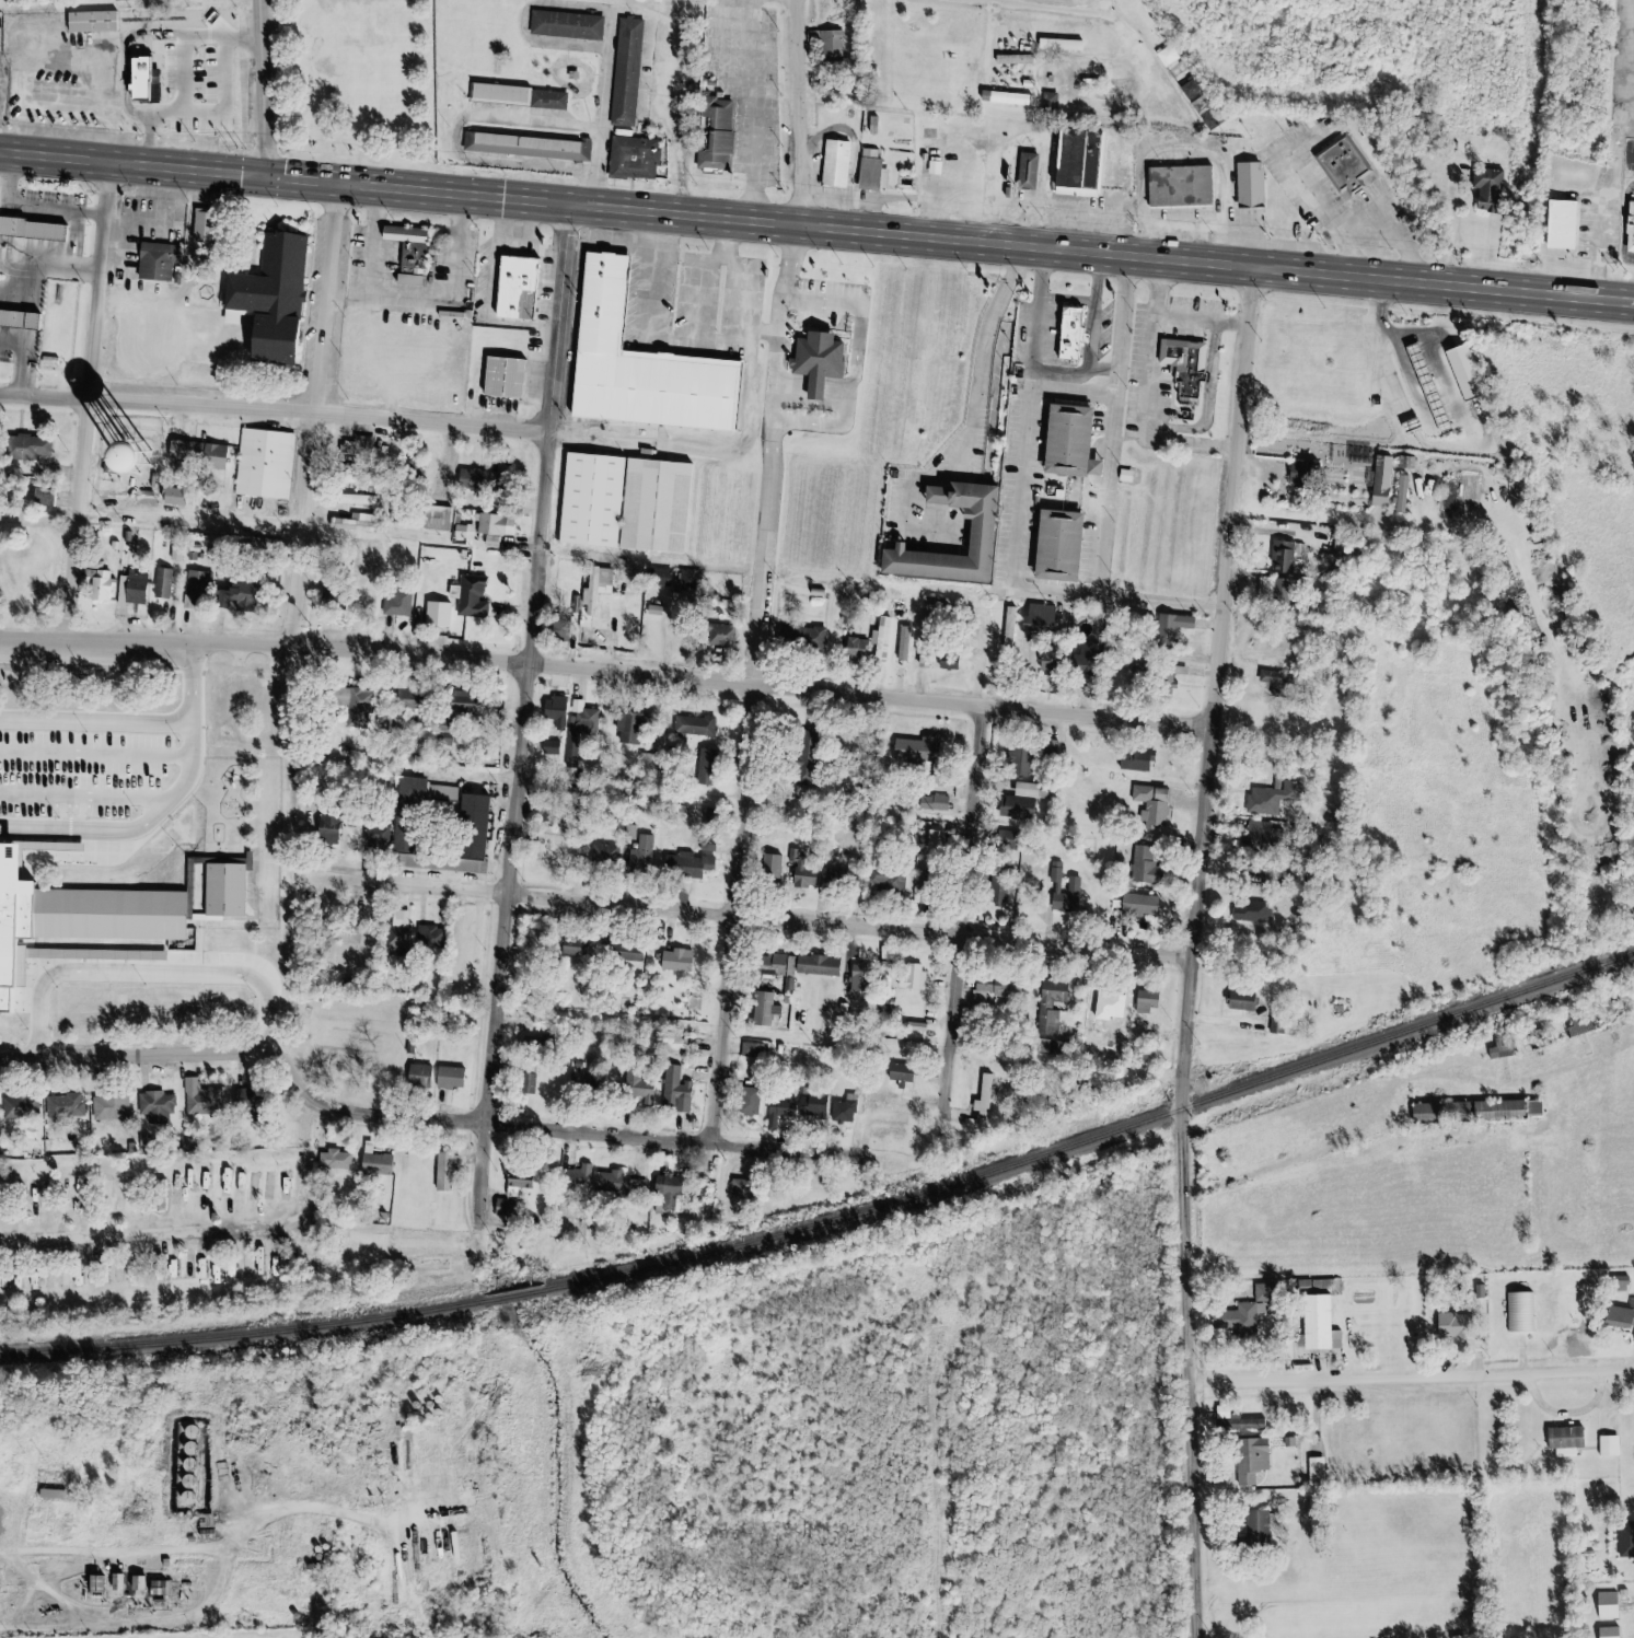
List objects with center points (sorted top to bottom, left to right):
building: (121, 0)
road: (1115, 9)
road: (607, 10)
building: (91, 21)
building: (182, 21)
building: (566, 24)
road: (1127, 26)
building: (831, 47)
building: (1013, 60)
building: (638, 70)
building: (572, 74)
road: (659, 74)
building: (23, 79)
building: (163, 79)
building: (47, 81)
road: (269, 89)
building: (499, 93)
building: (560, 98)
building: (1006, 98)
building: (1050, 104)
building: (1203, 104)
road: (683, 109)
road: (765, 111)
road: (803, 113)
building: (1215, 119)
road: (468, 138)
building: (731, 138)
building: (538, 144)
road: (1197, 150)
building: (645, 158)
building: (1354, 161)
building: (1091, 163)
building: (848, 164)
building: (1028, 173)
building: (870, 175)
building: (1261, 182)
road: (1314, 183)
building: (1195, 186)
building: (1487, 191)
road: (1381, 217)
building: (1576, 220)
building: (1560, 225)
road: (816, 226)
road: (1614, 226)
building: (1630, 228)
building: (31, 230)
road: (737, 240)
road: (386, 242)
road: (468, 249)
building: (422, 251)
building: (408, 254)
road: (710, 258)
road: (442, 259)
building: (157, 260)
road: (662, 274)
building: (517, 288)
road: (399, 299)
road: (707, 299)
building: (282, 300)
road: (755, 303)
road: (836, 304)
road: (1365, 305)
road: (1209, 317)
building: (19, 320)
building: (1083, 330)
building: (1069, 335)
road: (704, 340)
road: (1100, 342)
building: (830, 357)
building: (49, 360)
building: (641, 364)
building: (1191, 365)
building: (1378, 372)
building: (518, 374)
road: (865, 382)
road: (1151, 400)
road: (97, 402)
road: (1218, 407)
road: (280, 411)
road: (325, 415)
road: (1040, 418)
road: (844, 426)
road: (989, 427)
building: (1081, 440)
building: (30, 449)
building: (197, 449)
road: (715, 450)
road: (783, 454)
building: (228, 456)
building: (213, 458)
building: (101, 462)
building: (276, 463)
water tower: (144, 465)
building: (415, 472)
building: (1300, 475)
building: (472, 479)
building: (496, 480)
building: (1380, 483)
road: (1119, 491)
building: (1400, 495)
building: (188, 498)
building: (44, 499)
building: (591, 500)
building: (357, 501)
building: (656, 506)
road: (204, 519)
building: (437, 519)
building: (507, 523)
building: (354, 526)
building: (994, 528)
building: (477, 532)
building: (505, 539)
road: (531, 544)
building: (1071, 545)
building: (1282, 558)
building: (660, 579)
building: (98, 580)
building: (164, 585)
building: (596, 588)
building: (131, 589)
road: (1066, 590)
building: (201, 593)
building: (1274, 593)
building: (236, 594)
building: (485, 595)
building: (410, 602)
building: (397, 605)
building: (940, 606)
road: (521, 611)
building: (1038, 619)
building: (1175, 627)
building: (1009, 628)
building: (560, 631)
building: (730, 631)
road: (399, 634)
building: (881, 640)
building: (801, 641)
building: (903, 644)
building: (856, 650)
building: (924, 653)
road: (710, 654)
building: (1050, 660)
building: (948, 661)
building: (1086, 662)
road: (611, 671)
road: (140, 672)
building: (1136, 678)
building: (1167, 679)
building: (1275, 681)
road: (43, 699)
building: (410, 700)
building: (462, 706)
building: (359, 708)
building: (555, 713)
road: (533, 717)
building: (588, 722)
building: (694, 728)
building: (629, 730)
building: (442, 737)
building: (552, 748)
building: (1052, 750)
building: (915, 751)
building: (807, 755)
road: (230, 758)
building: (1019, 760)
building: (1136, 760)
building: (649, 763)
building: (706, 768)
building: (56, 776)
building: (1047, 792)
building: (1271, 799)
building: (932, 803)
building: (1018, 804)
building: (1151, 805)
building: (407, 816)
building: (466, 823)
road: (202, 826)
building: (328, 830)
building: (376, 832)
building: (1261, 836)
building: (1005, 840)
building: (935, 846)
road: (280, 849)
building: (641, 856)
building: (605, 857)
building: (687, 867)
building: (1145, 867)
building: (1255, 871)
building: (770, 872)
building: (804, 874)
building: (841, 881)
building: (889, 881)
building: (224, 888)
building: (1063, 891)
road: (25, 899)
building: (1136, 906)
building: (111, 914)
road: (972, 914)
building: (1254, 914)
road: (741, 915)
road: (752, 917)
building: (341, 931)
road: (239, 933)
building: (398, 933)
building: (427, 939)
building: (462, 948)
building: (571, 949)
road: (1193, 954)
building: (624, 955)
building: (675, 960)
building: (769, 964)
building: (818, 966)
building: (914, 979)
building: (858, 980)
building: (1005, 994)
building: (1240, 1001)
building: (978, 1002)
building: (1147, 1002)
building: (1051, 1003)
building: (762, 1010)
building: (1113, 1011)
building: (1578, 1027)
building: (530, 1047)
building: (753, 1050)
road: (170, 1055)
building: (900, 1074)
building: (419, 1077)
building: (450, 1079)
building: (526, 1080)
building: (583, 1081)
road: (1395, 1088)
building: (677, 1092)
building: (644, 1094)
building: (984, 1097)
building: (878, 1099)
building: (749, 1101)
building: (250, 1103)
building: (204, 1104)
building: (63, 1107)
building: (20, 1110)
building: (111, 1110)
building: (795, 1110)
building: (155, 1111)
building: (844, 1112)
building: (1476, 1113)
building: (897, 1119)
road: (586, 1134)
building: (343, 1163)
building: (375, 1166)
building: (443, 1173)
building: (580, 1177)
building: (518, 1184)
building: (617, 1186)
building: (91, 1188)
building: (236, 1192)
building: (745, 1192)
building: (69, 1193)
building: (668, 1194)
building: (160, 1197)
building: (505, 1209)
railway: (832, 1222)
road: (208, 1227)
building: (1620, 1318)
building: (1238, 1321)
building: (1316, 1324)
road: (1407, 1378)
building: (401, 1407)
building: (1240, 1424)
building: (361, 1433)
building: (1566, 1439)
building: (1608, 1447)
building: (1251, 1461)
building: (48, 1496)
road: (352, 1521)
building: (205, 1527)
building: (1254, 1531)
building: (1625, 1541)
road: (111, 1549)
building: (382, 1565)
building: (116, 1583)
building: (136, 1583)
building: (157, 1589)
road: (39, 1592)
building: (1606, 1606)
road: (195, 1610)
building: (1608, 1633)

